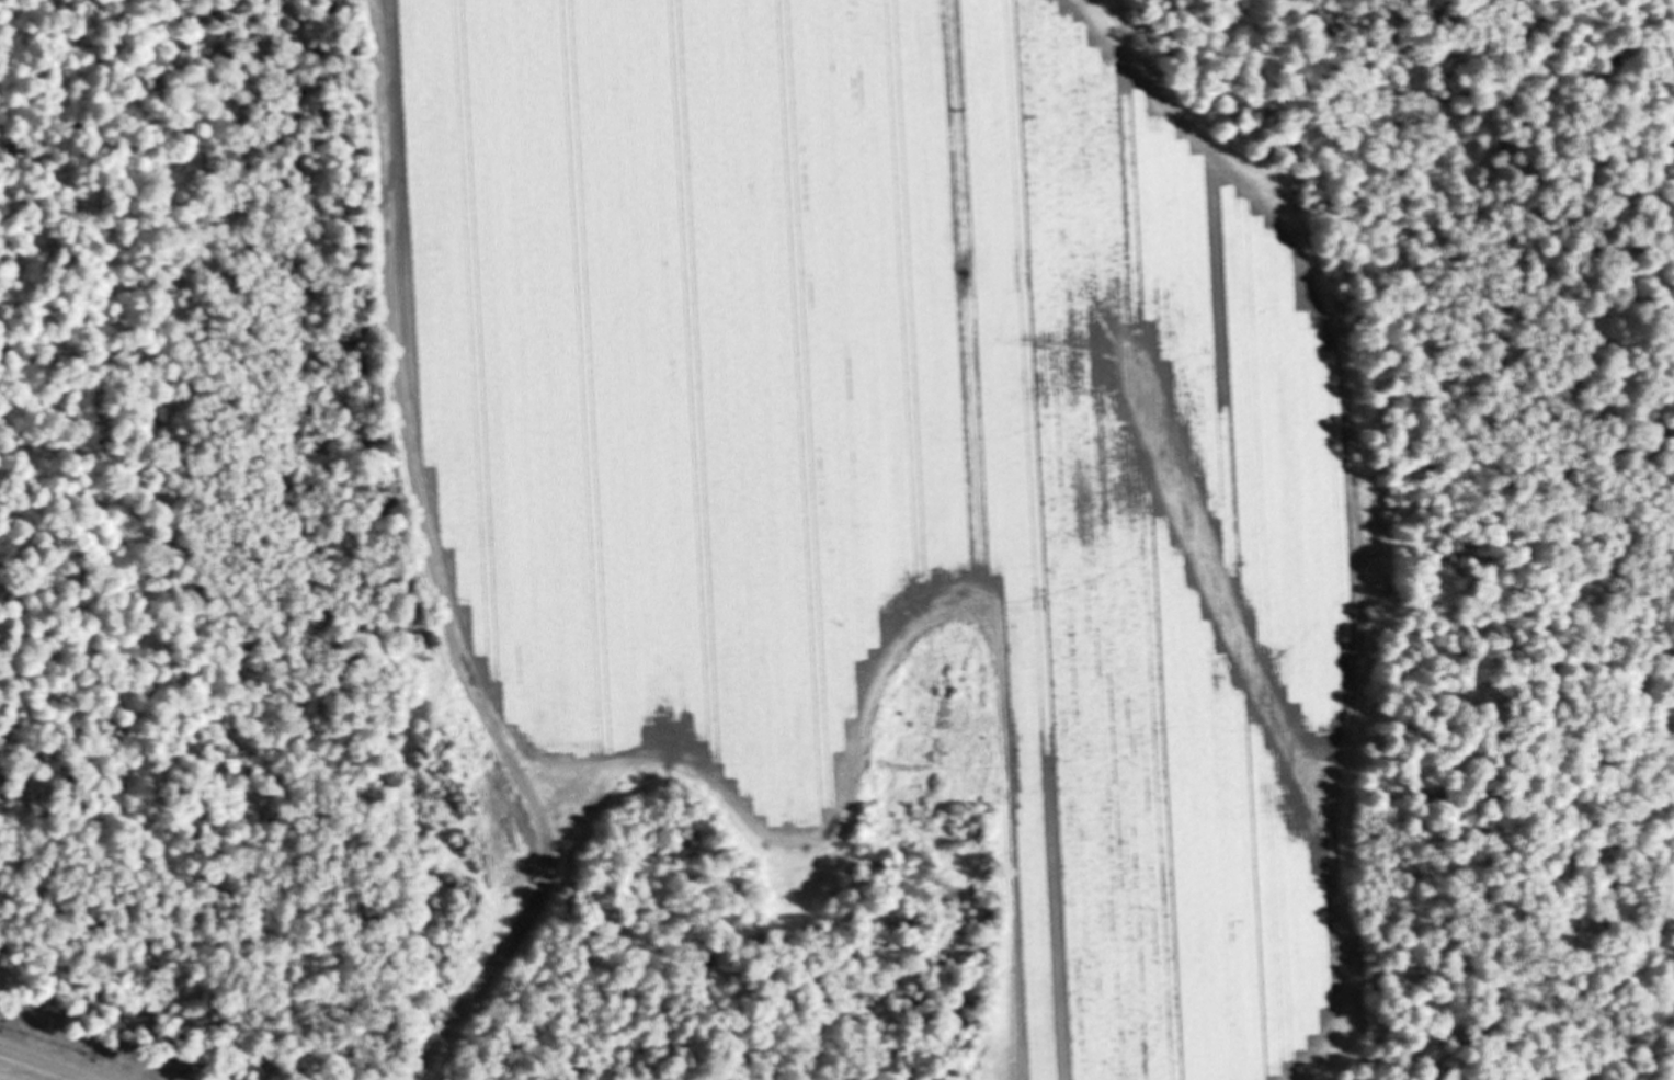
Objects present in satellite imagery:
road: (432, 570)
road: (42, 1065)

